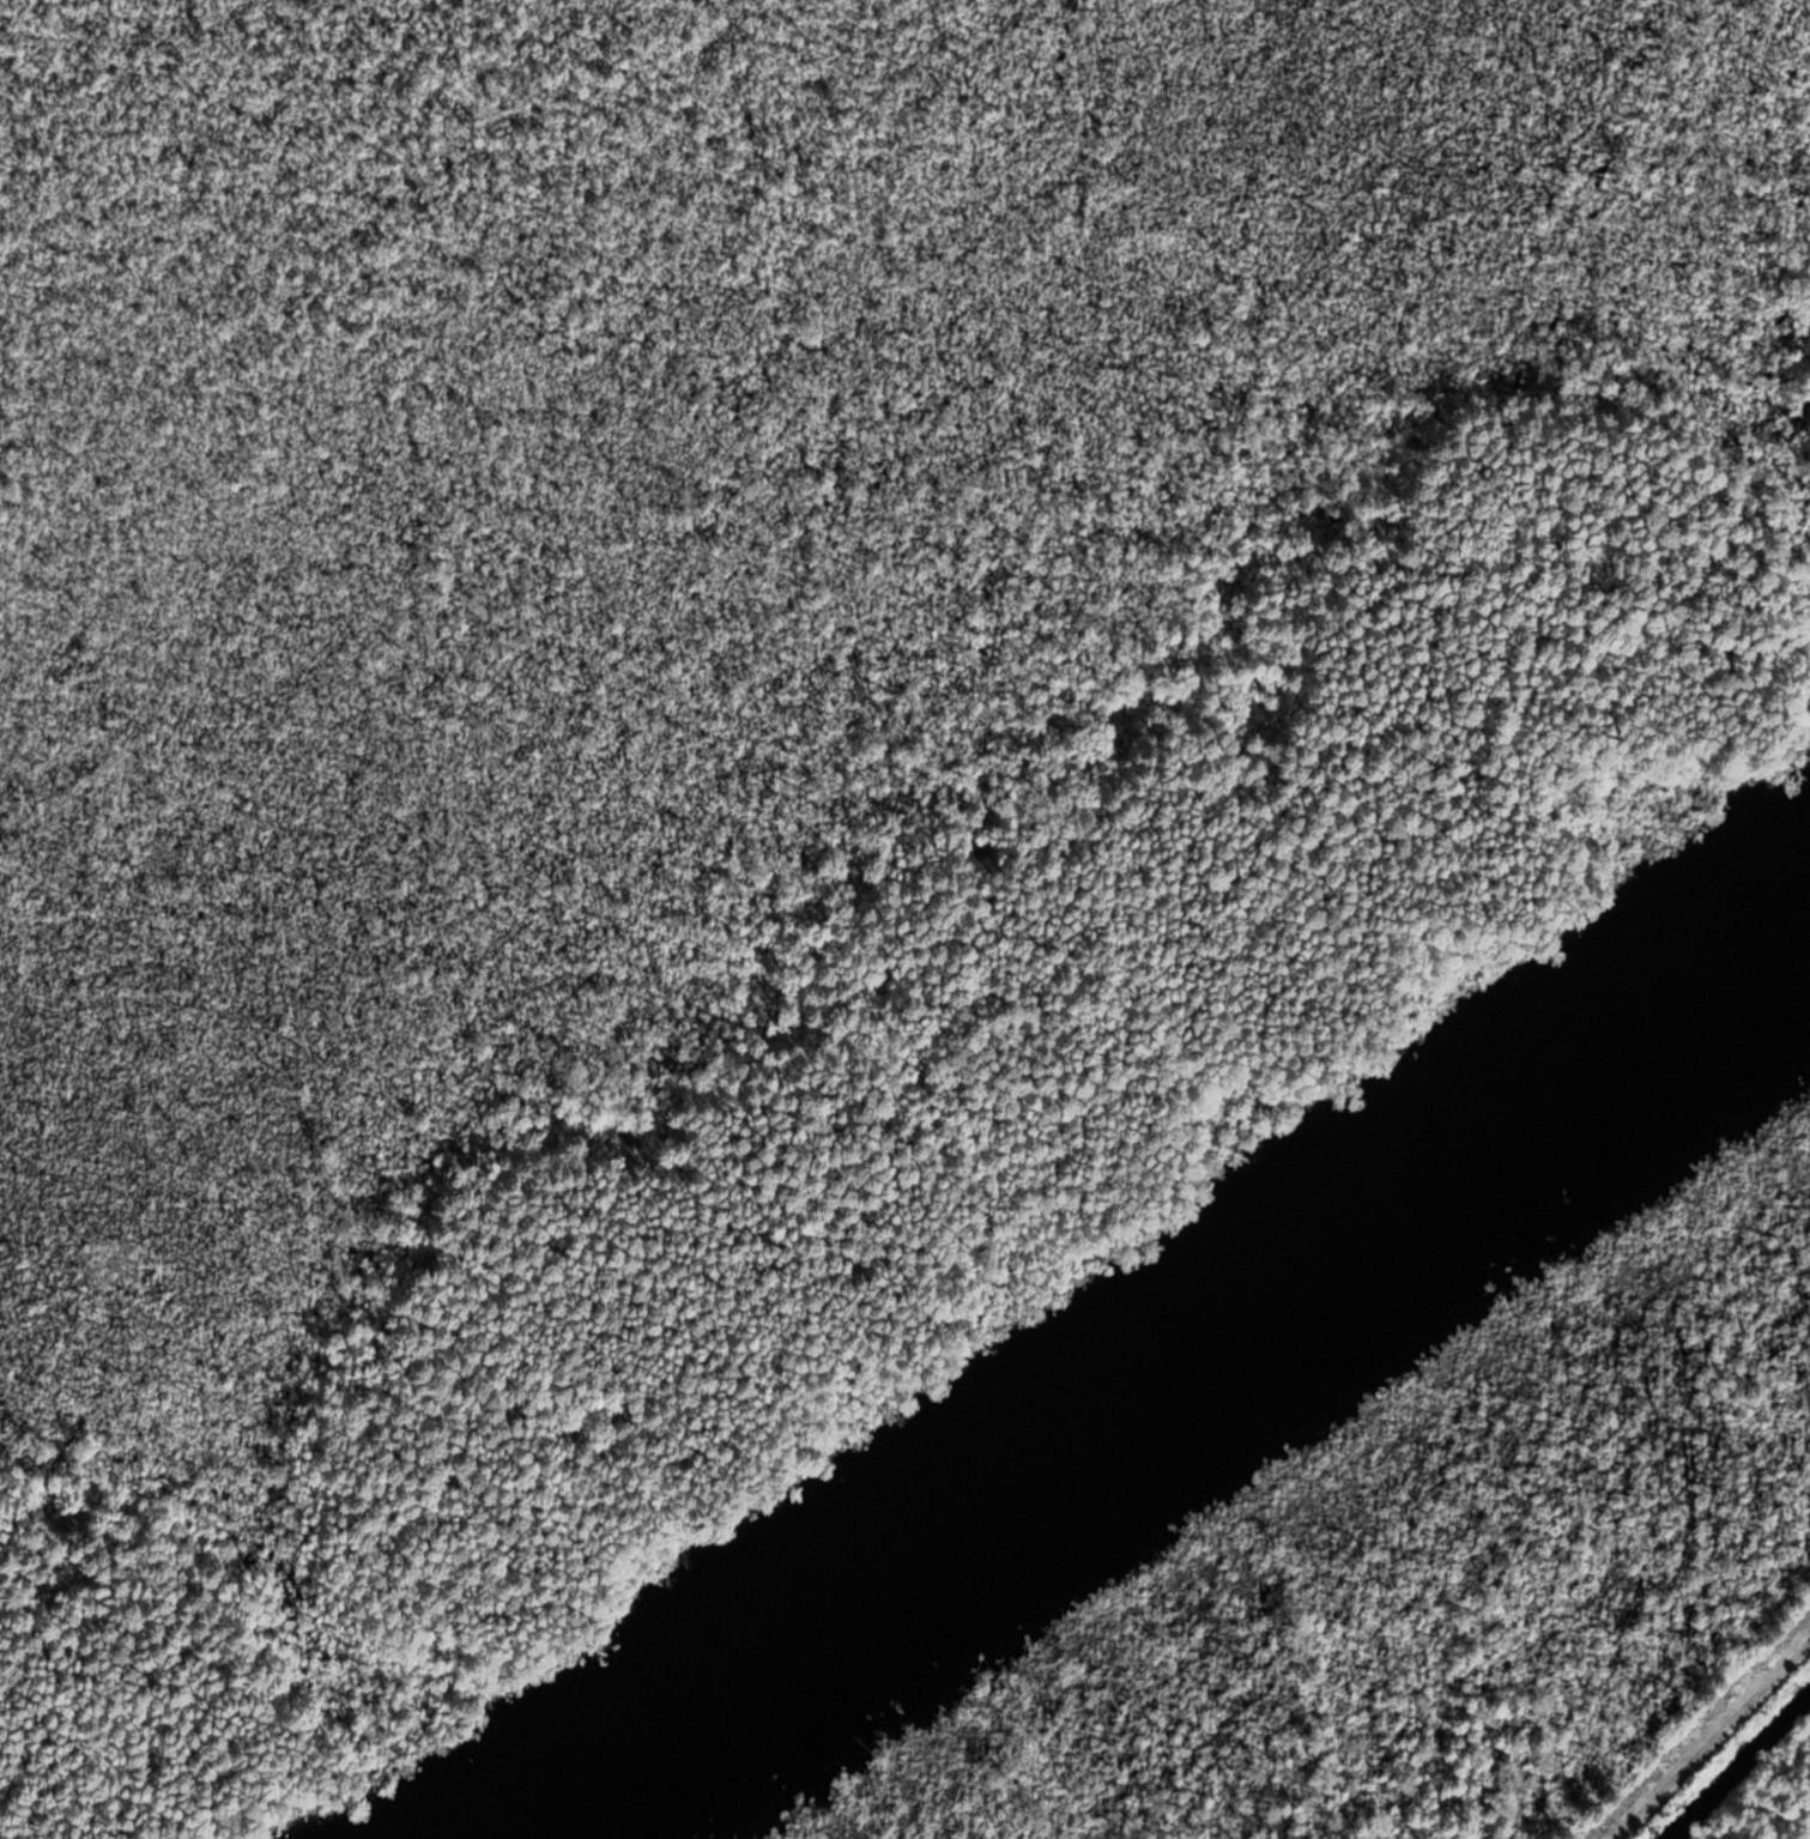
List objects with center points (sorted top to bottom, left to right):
road: (1713, 1741)

